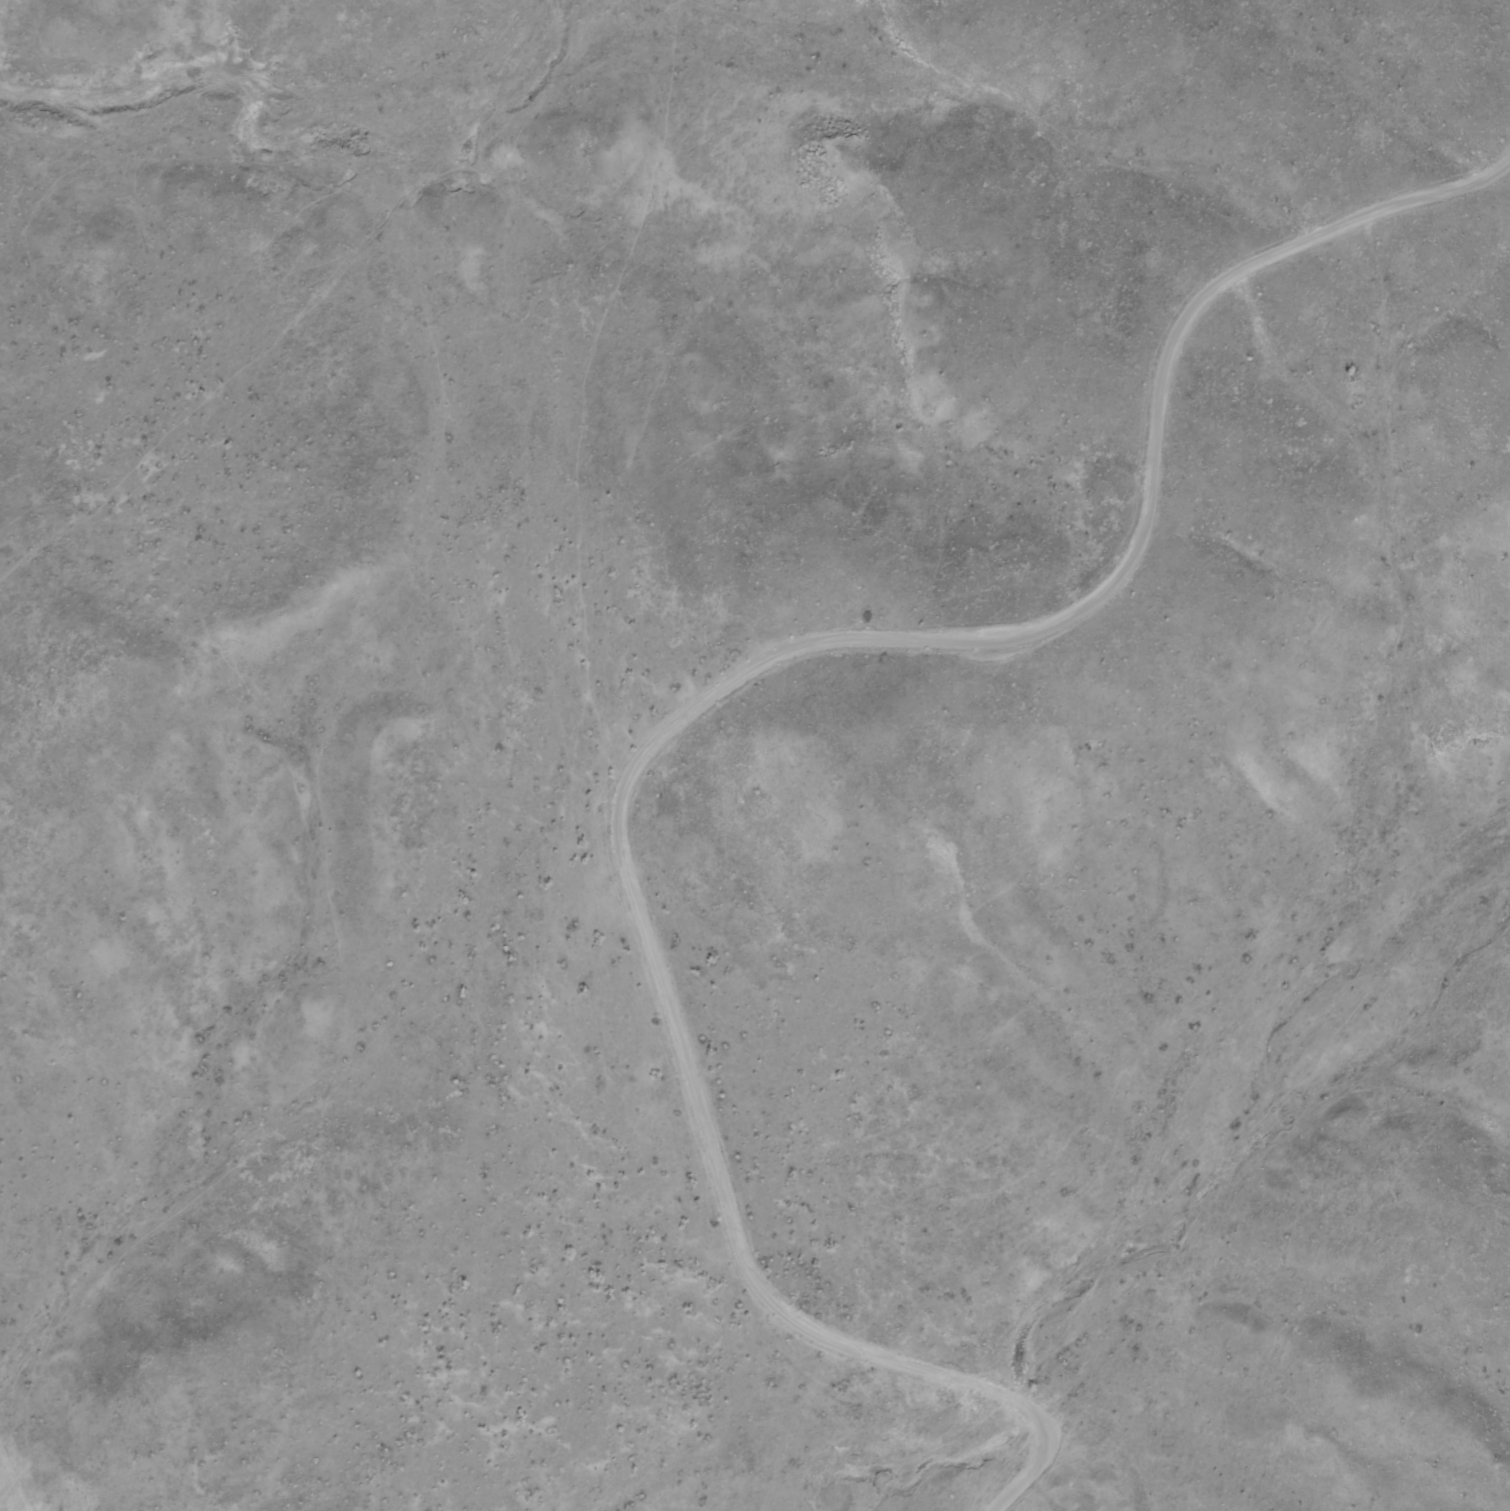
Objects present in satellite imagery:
road: (387, 1378)

